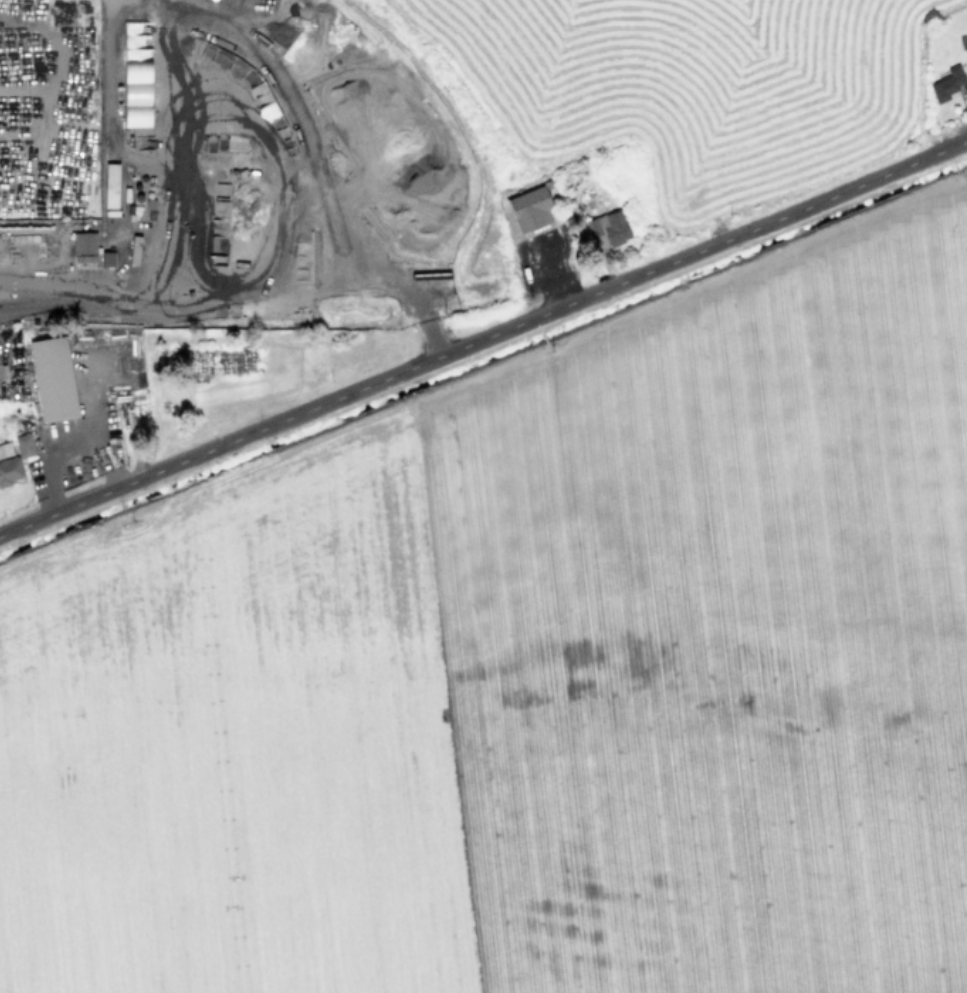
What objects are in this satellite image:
building: (947, 83)
building: (137, 93)
crop: (423, 149)
building: (110, 185)
building: (530, 208)
building: (608, 229)
building: (84, 246)
building: (106, 258)
road: (87, 299)
road: (483, 337)
building: (53, 378)
building: (24, 444)
building: (5, 449)
building: (9, 471)
crop: (536, 674)

